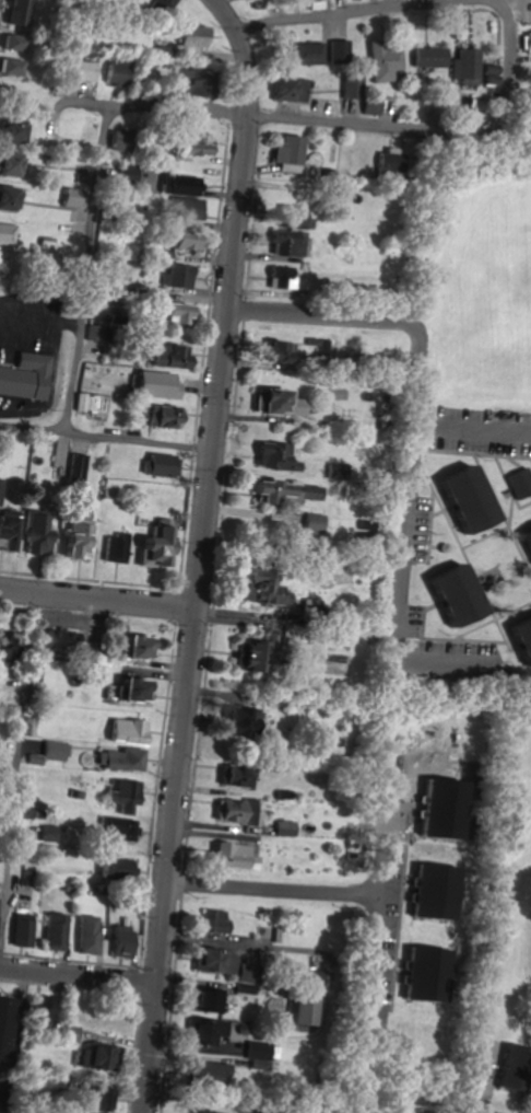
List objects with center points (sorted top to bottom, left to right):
road: (493, 2)
building: (166, 3)
building: (312, 3)
road: (408, 8)
building: (14, 12)
building: (190, 35)
building: (9, 40)
building: (524, 40)
building: (339, 49)
building: (307, 53)
building: (427, 57)
building: (383, 61)
building: (463, 63)
building: (10, 66)
building: (74, 69)
building: (110, 70)
building: (485, 72)
building: (182, 81)
building: (352, 85)
building: (529, 85)
building: (287, 89)
road: (80, 104)
building: (371, 105)
road: (323, 121)
building: (9, 129)
building: (111, 141)
building: (192, 143)
building: (285, 153)
building: (387, 160)
building: (7, 163)
building: (125, 173)
building: (177, 184)
building: (9, 197)
building: (68, 197)
building: (184, 207)
building: (288, 216)
building: (5, 234)
building: (181, 239)
building: (285, 243)
building: (43, 245)
road: (88, 269)
building: (176, 276)
building: (279, 277)
building: (172, 313)
building: (269, 351)
building: (165, 355)
building: (26, 375)
building: (153, 384)
building: (273, 403)
building: (164, 417)
road: (473, 425)
road: (108, 437)
road: (414, 442)
building: (271, 456)
building: (160, 464)
building: (76, 466)
building: (0, 478)
building: (518, 483)
building: (264, 490)
building: (292, 491)
building: (462, 497)
building: (311, 523)
building: (9, 530)
building: (37, 532)
building: (526, 541)
building: (78, 542)
building: (115, 547)
building: (154, 547)
road: (206, 552)
building: (256, 586)
building: (451, 594)
road: (101, 599)
building: (520, 638)
building: (49, 639)
road: (493, 650)
building: (244, 654)
building: (131, 689)
building: (235, 721)
building: (126, 731)
building: (56, 750)
road: (20, 758)
building: (33, 758)
building: (120, 760)
building: (231, 776)
building: (235, 811)
building: (284, 827)
building: (119, 828)
building: (227, 855)
building: (113, 868)
road: (379, 878)
road: (275, 891)
building: (432, 892)
building: (214, 921)
building: (19, 930)
building: (52, 931)
building: (85, 935)
building: (117, 941)
road: (371, 954)
building: (213, 961)
building: (423, 975)
road: (81, 976)
building: (205, 1000)
building: (302, 1010)
building: (35, 1012)
building: (4, 1024)
building: (63, 1031)
building: (203, 1032)
building: (256, 1054)
building: (92, 1057)
building: (506, 1068)
building: (204, 1073)
road: (473, 1077)
building: (95, 1099)
building: (177, 1112)

